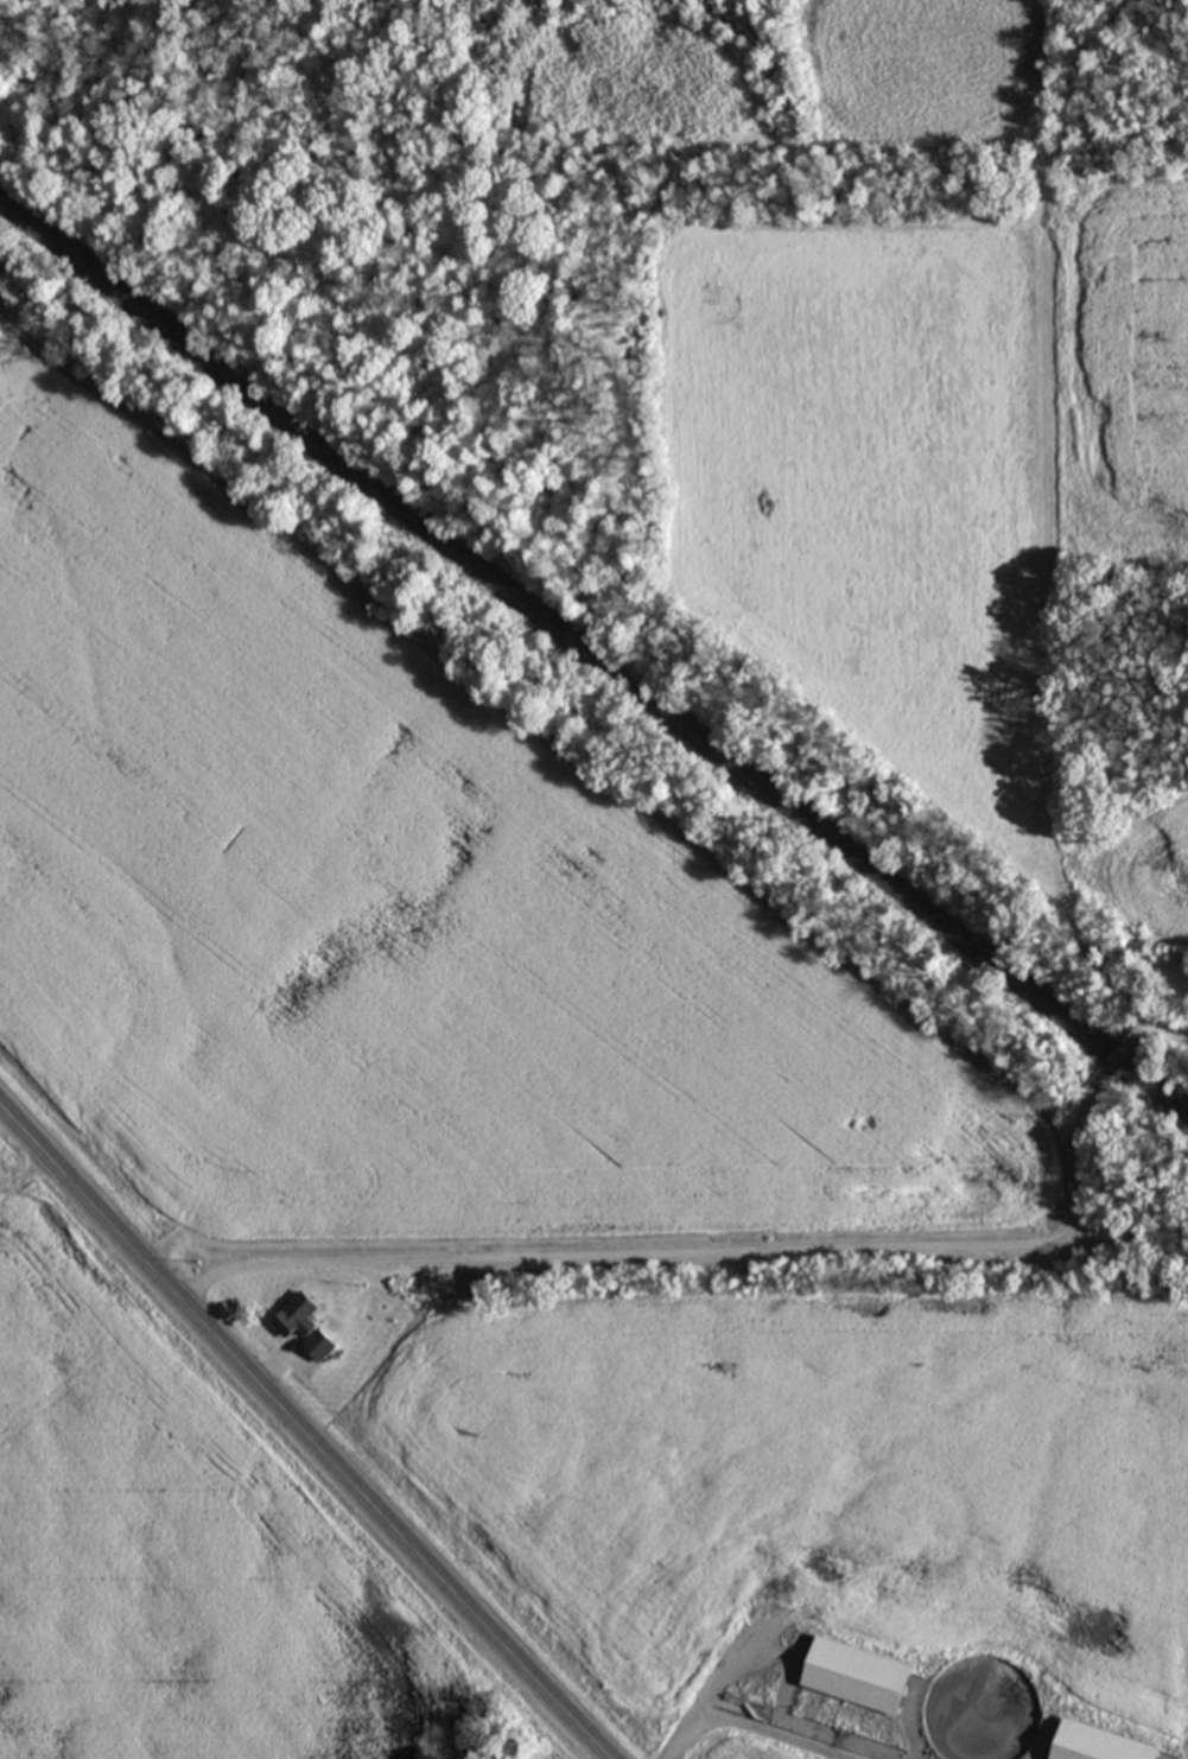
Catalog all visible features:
railway: (593, 655)
road: (1151, 1029)
road: (1125, 1060)
road: (704, 1255)
building: (309, 1328)
road: (304, 1430)
building: (863, 1678)
road: (748, 1729)
building: (1105, 1745)

